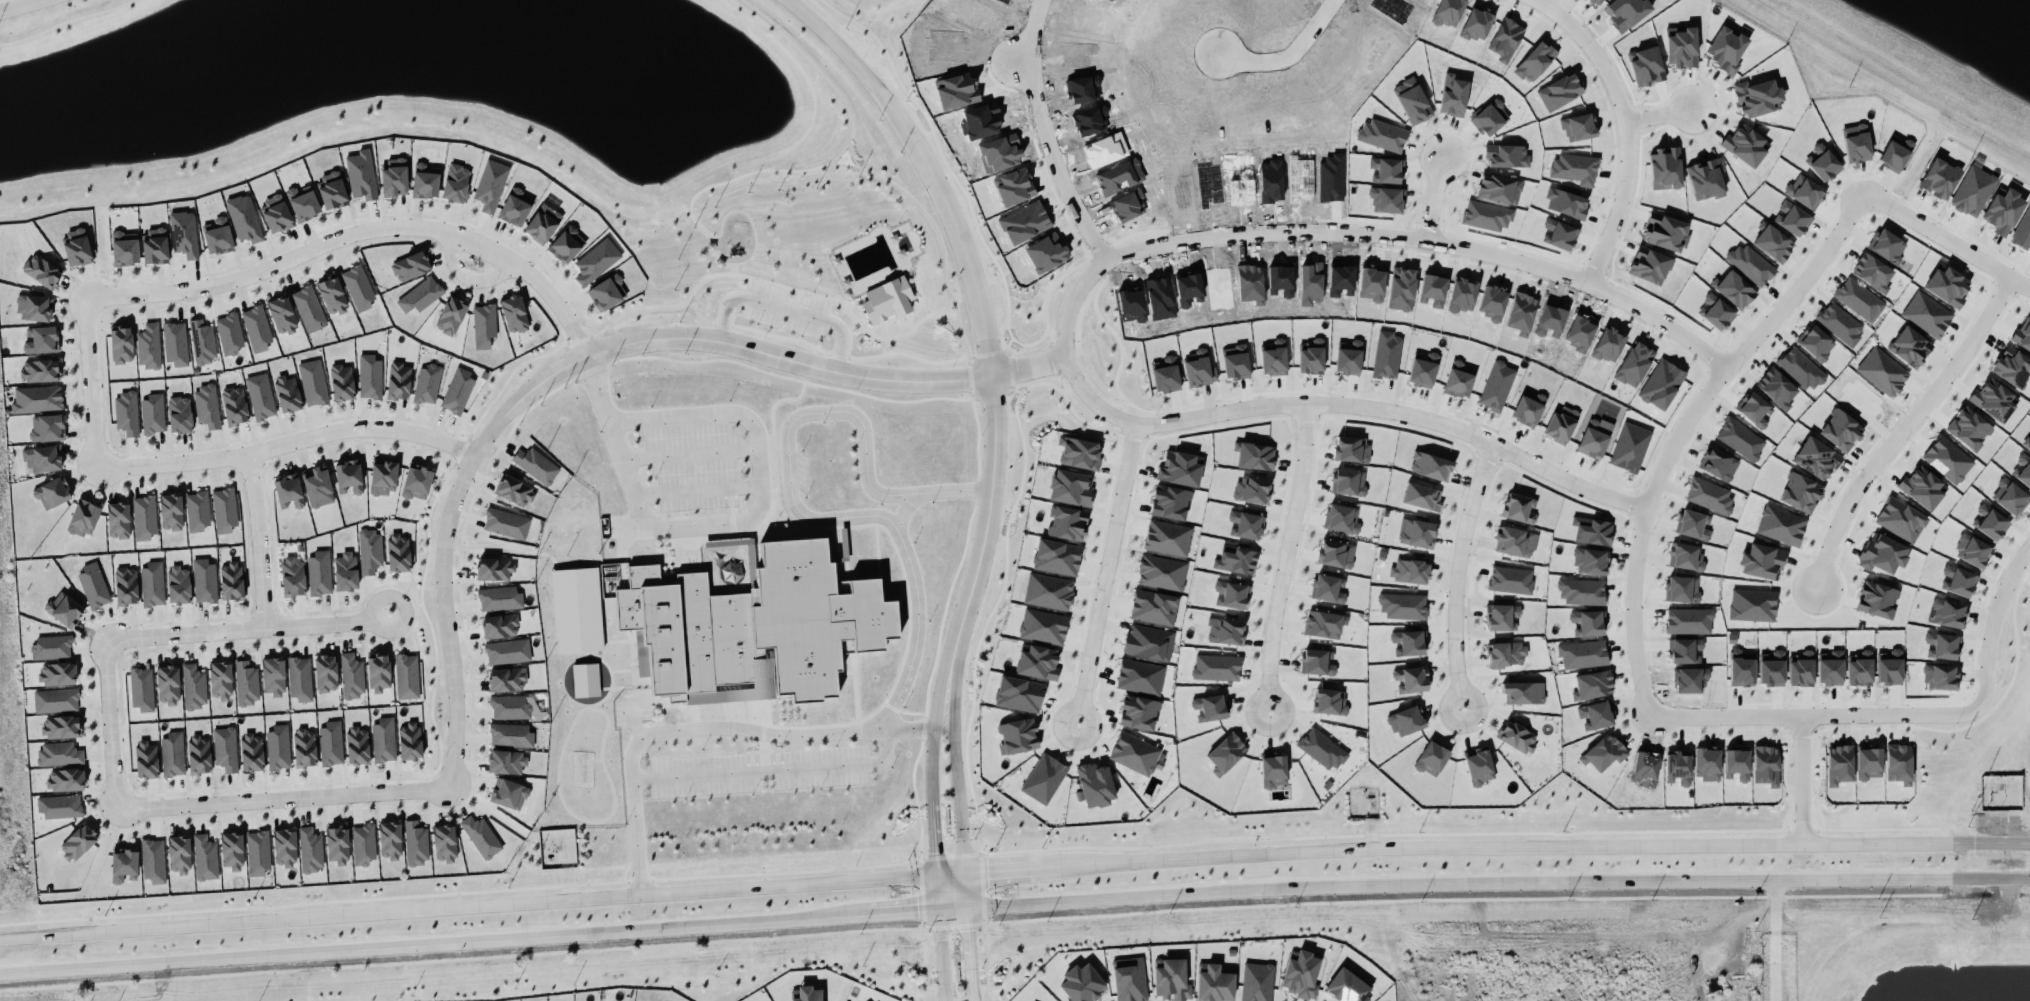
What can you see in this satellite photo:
building: (1597, 2)
road: (18, 5)
building: (1449, 11)
road: (64, 21)
building: (1681, 47)
building: (1726, 48)
road: (1289, 56)
road: (811, 61)
building: (1534, 61)
building: (1757, 97)
building: (1453, 98)
building: (1411, 100)
road: (1659, 115)
building: (1490, 117)
building: (1577, 126)
road: (1626, 129)
road: (1046, 135)
building: (1382, 135)
building: (1856, 142)
building: (1744, 144)
building: (1895, 152)
road: (840, 153)
road: (852, 154)
road: (840, 163)
building: (1823, 163)
road: (929, 166)
building: (1574, 168)
building: (361, 174)
building: (393, 177)
building: (1705, 178)
building: (1939, 178)
building: (425, 180)
building: (455, 183)
building: (490, 185)
building: (1498, 187)
building: (332, 190)
building: (1972, 190)
building: (1807, 193)
road: (1436, 198)
building: (1386, 199)
building: (303, 202)
building: (515, 206)
building: (2002, 211)
building: (276, 213)
building: (1486, 215)
building: (244, 218)
building: (1791, 218)
building: (542, 223)
building: (2023, 230)
road: (358, 231)
building: (1665, 231)
building: (183, 233)
road: (1387, 235)
building: (217, 236)
road: (1948, 240)
building: (567, 243)
building: (1773, 243)
building: (154, 245)
building: (1887, 246)
building: (76, 247)
building: (124, 248)
building: (596, 261)
building: (1750, 263)
building: (410, 266)
building: (42, 270)
building: (1872, 272)
road: (467, 276)
road: (770, 283)
building: (1946, 285)
building: (358, 286)
building: (1734, 289)
building: (607, 292)
building: (332, 294)
building: (420, 294)
building: (888, 299)
building: (1858, 299)
parking lot: (765, 302)
road: (855, 302)
road: (804, 303)
road: (946, 305)
building: (34, 307)
building: (308, 307)
road: (786, 309)
building: (1716, 312)
building: (514, 313)
building: (1926, 313)
parking lot: (807, 314)
building: (282, 315)
building: (450, 315)
road: (908, 321)
building: (1839, 323)
building: (483, 325)
building: (257, 327)
road: (886, 328)
building: (229, 333)
building: (2023, 334)
building: (40, 339)
building: (202, 341)
building: (175, 343)
building: (1816, 343)
building: (121, 344)
road: (1009, 344)
building: (148, 346)
building: (1909, 346)
road: (1007, 349)
road: (822, 350)
road: (986, 353)
building: (1386, 354)
road: (586, 355)
road: (811, 355)
building: (1311, 356)
building: (1348, 356)
building: (1273, 357)
building: (1235, 361)
building: (2012, 366)
building: (1799, 368)
road: (1010, 369)
building: (1199, 369)
building: (1423, 369)
building: (40, 370)
building: (1882, 371)
building: (1165, 374)
road: (970, 375)
building: (369, 376)
building: (1458, 378)
building: (398, 380)
building: (341, 381)
road: (90, 382)
building: (312, 382)
building: (427, 383)
building: (1661, 384)
building: (1496, 385)
road: (597, 387)
building: (1777, 387)
building: (457, 390)
building: (287, 393)
building: (260, 395)
building: (37, 398)
building: (1993, 399)
building: (1860, 400)
road: (1340, 404)
building: (207, 405)
building: (234, 405)
building: (1528, 407)
building: (1754, 410)
building: (126, 412)
building: (152, 413)
building: (179, 413)
building: (1560, 423)
building: (46, 427)
road: (1683, 427)
road: (1904, 428)
building: (1968, 428)
building: (1840, 430)
road: (978, 434)
building: (1593, 438)
building: (1740, 438)
road: (287, 442)
building: (2028, 444)
building: (1629, 447)
building: (1351, 449)
road: (691, 453)
building: (1079, 453)
building: (1255, 456)
building: (1817, 457)
building: (42, 458)
building: (1947, 459)
building: (1718, 463)
building: (535, 464)
building: (1430, 465)
building: (1180, 467)
building: (2023, 469)
building: (348, 476)
building: (383, 476)
building: (416, 481)
building: (1349, 482)
building: (318, 486)
building: (1070, 487)
building: (1922, 487)
road: (977, 488)
building: (1252, 489)
building: (514, 490)
road: (699, 490)
road: (791, 490)
building: (289, 491)
building: (52, 492)
building: (1799, 492)
building: (1421, 496)
building: (1709, 496)
building: (2010, 497)
building: (1169, 502)
road: (760, 505)
road: (902, 508)
building: (1519, 508)
building: (197, 510)
building: (224, 510)
building: (171, 511)
building: (144, 516)
building: (83, 517)
building: (1342, 518)
building: (1900, 519)
building: (118, 520)
building: (1067, 522)
building: (506, 523)
building: (1245, 524)
building: (1693, 524)
building: (1991, 524)
building: (1780, 525)
road: (621, 527)
building: (1592, 530)
building: (1416, 532)
building: (1167, 537)
building: (1515, 541)
road: (259, 542)
building: (370, 550)
road: (982, 550)
building: (1972, 550)
building: (398, 552)
building: (1335, 553)
building: (1882, 553)
building: (1056, 556)
road: (1287, 556)
building: (1687, 556)
building: (1235, 559)
building: (1590, 561)
building: (1762, 561)
building: (494, 568)
building: (345, 570)
building: (1409, 570)
building: (319, 572)
building: (1161, 572)
road: (1107, 573)
road: (1458, 573)
building: (292, 576)
building: (1510, 579)
building: (204, 580)
building: (231, 581)
building: (1961, 582)
building: (152, 583)
building: (178, 584)
building: (93, 585)
building: (126, 585)
building: (840, 586)
building: (1328, 588)
building: (1682, 589)
building: (1048, 591)
building: (1581, 591)
building: (1231, 594)
building: (499, 597)
building: (1876, 599)
building: (1752, 604)
building: (1403, 605)
building: (1153, 607)
building: (64, 609)
building: (576, 609)
building: (1950, 613)
building: (1502, 617)
building: (1688, 620)
building: (1587, 622)
road: (1992, 622)
building: (1324, 623)
building: (499, 625)
building: (1043, 625)
building: (752, 627)
road: (248, 630)
building: (1226, 631)
building: (1148, 641)
building: (1408, 642)
building: (1941, 645)
building: (51, 646)
building: (1686, 650)
building: (507, 651)
building: (1582, 653)
building: (1506, 654)
building: (1037, 661)
building: (1318, 661)
building: (1216, 666)
building: (1889, 666)
building: (1741, 667)
building: (1830, 667)
building: (1771, 668)
building: (1800, 668)
building: (1859, 668)
building: (378, 672)
building: (56, 673)
building: (326, 673)
building: (351, 675)
building: (406, 675)
building: (273, 676)
building: (1140, 676)
building: (1940, 676)
building: (299, 678)
building: (506, 679)
building: (586, 679)
building: (1410, 679)
building: (220, 680)
building: (246, 682)
building: (167, 684)
building: (1592, 684)
building: (193, 686)
building: (142, 688)
building: (1523, 692)
building: (1019, 693)
building: (55, 699)
building: (1329, 701)
building: (510, 707)
road: (891, 707)
building: (1209, 707)
building: (1138, 712)
building: (1595, 714)
road: (1815, 715)
building: (1406, 720)
road: (110, 725)
building: (60, 726)
road: (729, 727)
road: (923, 727)
building: (510, 735)
building: (1017, 735)
building: (1517, 735)
building: (383, 739)
building: (409, 740)
building: (331, 742)
building: (357, 744)
building: (278, 747)
building: (304, 747)
building: (225, 748)
building: (1322, 749)
building: (251, 751)
building: (1225, 752)
building: (1603, 752)
building: (59, 753)
building: (1135, 753)
building: (172, 754)
building: (198, 754)
building: (1432, 757)
building: (146, 759)
building: (506, 761)
road: (932, 761)
building: (1706, 762)
building: (1868, 762)
building: (1736, 763)
building: (1898, 763)
building: (1766, 764)
building: (1839, 764)
building: (1479, 767)
building: (1678, 767)
road: (773, 770)
building: (1273, 770)
building: (1044, 778)
road: (1802, 778)
building: (65, 779)
building: (1095, 785)
building: (508, 794)
road: (958, 797)
road: (284, 799)
building: (59, 805)
building: (481, 836)
building: (389, 840)
road: (933, 840)
road: (1991, 840)
building: (77, 841)
building: (416, 842)
building: (444, 843)
building: (337, 844)
building: (363, 844)
road: (1511, 844)
building: (284, 847)
building: (310, 849)
building: (232, 850)
traffic signals: (934, 851)
building: (258, 852)
building: (178, 854)
building: (205, 857)
building: (153, 860)
building: (123, 864)
road: (1019, 869)
traffic signals: (989, 872)
road: (951, 874)
road: (1929, 877)
road: (1977, 877)
road: (2016, 877)
road: (1436, 882)
road: (967, 889)
road: (936, 890)
road: (467, 904)
road: (953, 905)
traffic signals: (917, 907)
road: (896, 908)
traffic signals: (969, 930)
road: (427, 942)
road: (969, 950)
road: (942, 952)
building: (1300, 974)
building: (1129, 979)
building: (1171, 979)
building: (1256, 981)
building: (1082, 983)
building: (1213, 983)
building: (1348, 985)
building: (807, 994)
road: (973, 998)

